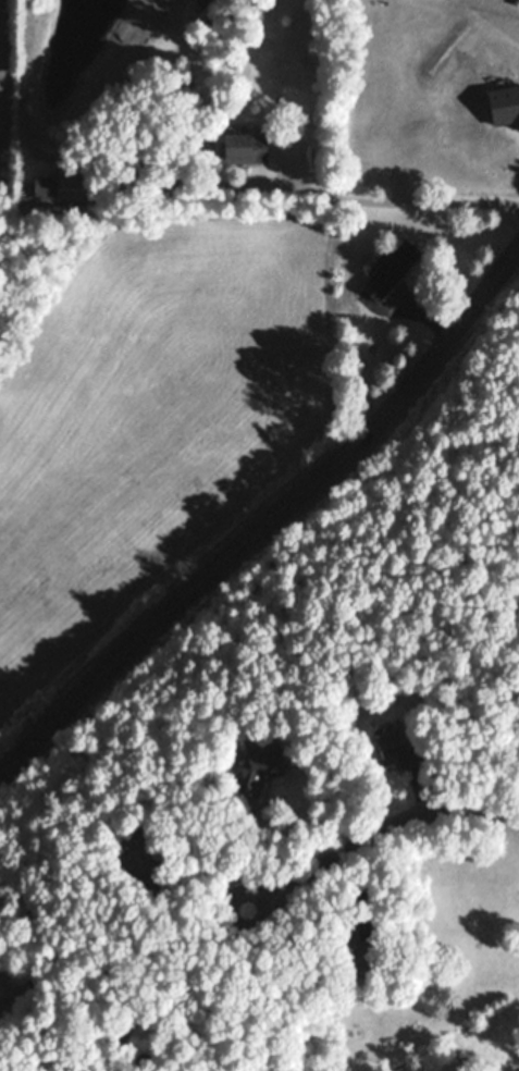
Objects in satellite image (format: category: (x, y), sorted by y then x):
building: (244, 146)
building: (110, 155)
building: (138, 157)
building: (189, 164)
building: (59, 185)
road: (400, 198)
building: (348, 221)
building: (391, 267)
road: (305, 491)
building: (396, 747)
building: (258, 765)
road: (378, 834)
building: (137, 853)
building: (357, 947)
building: (107, 971)
road: (174, 987)
building: (8, 997)

